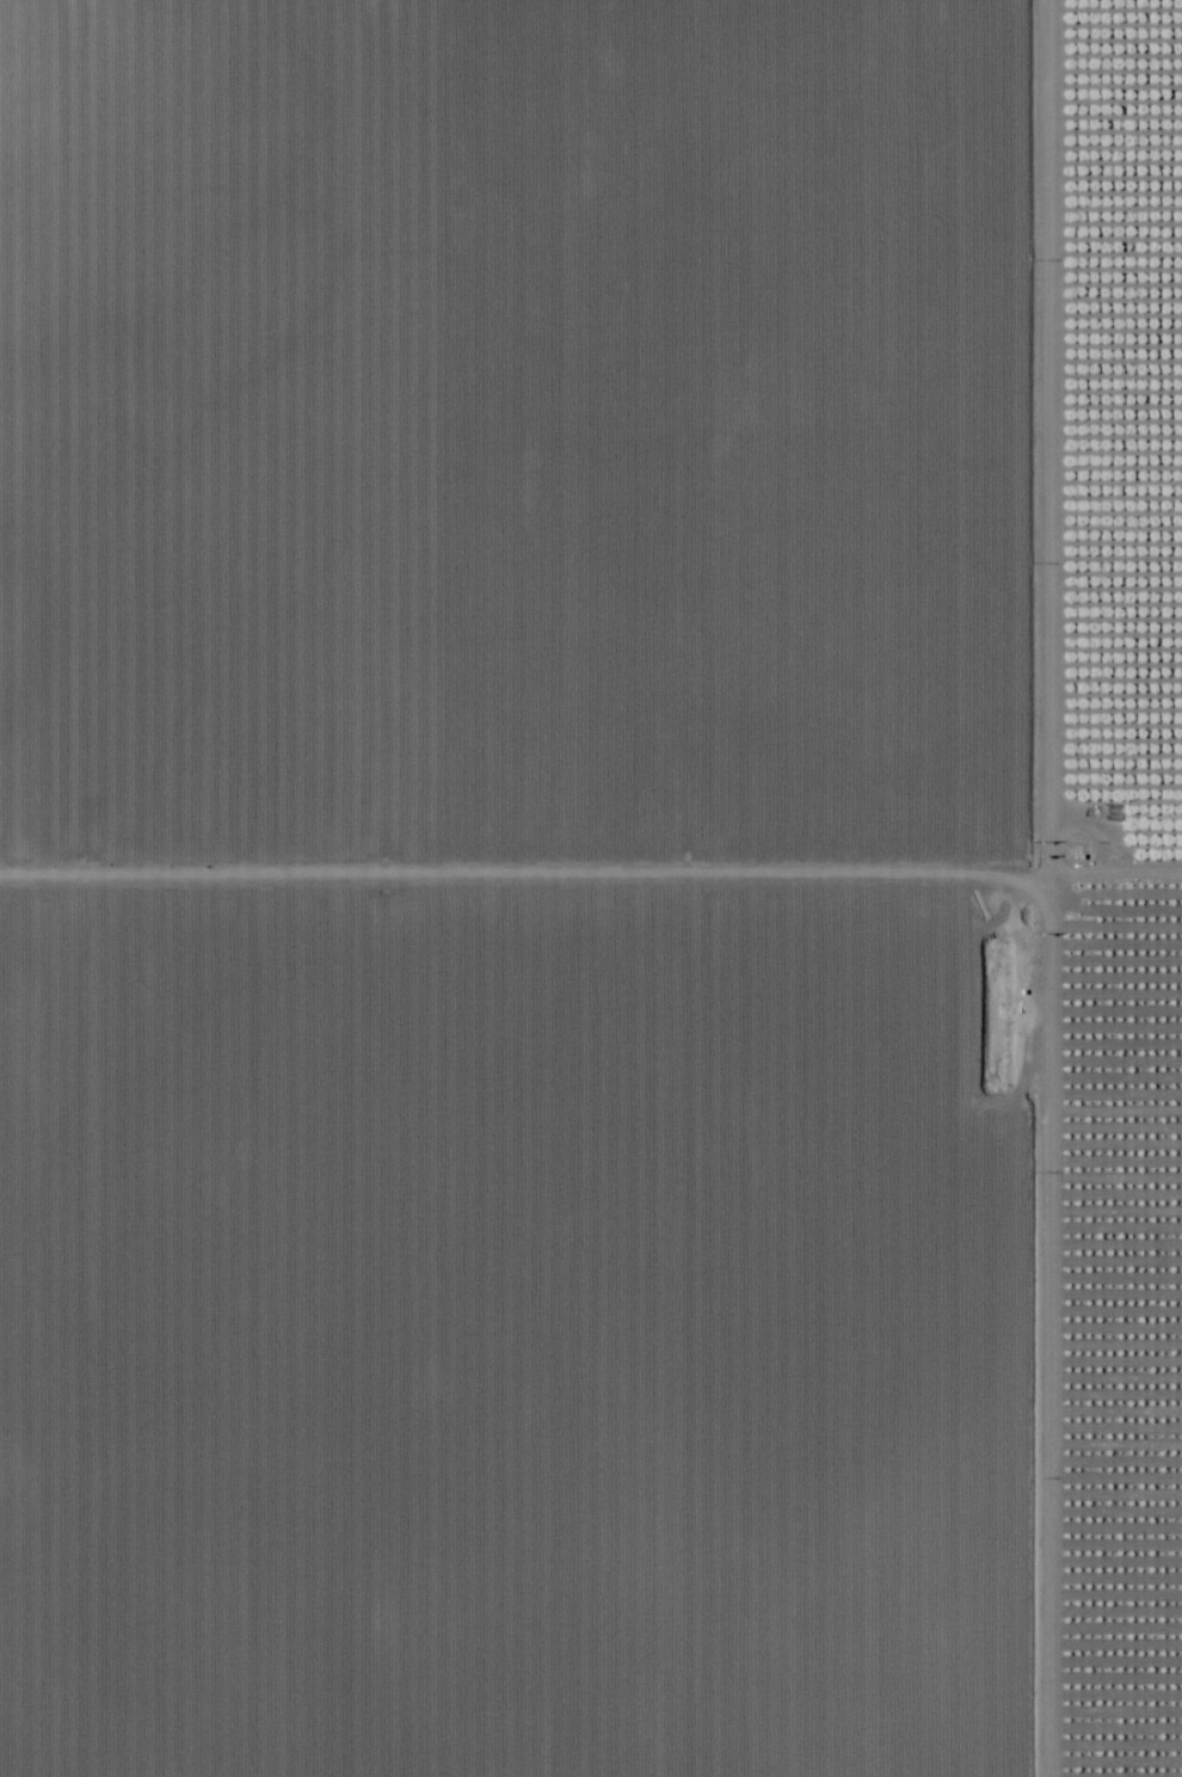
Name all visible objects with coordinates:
crop: (528, 442)
road: (590, 875)
road: (1041, 889)
crop: (528, 1332)

